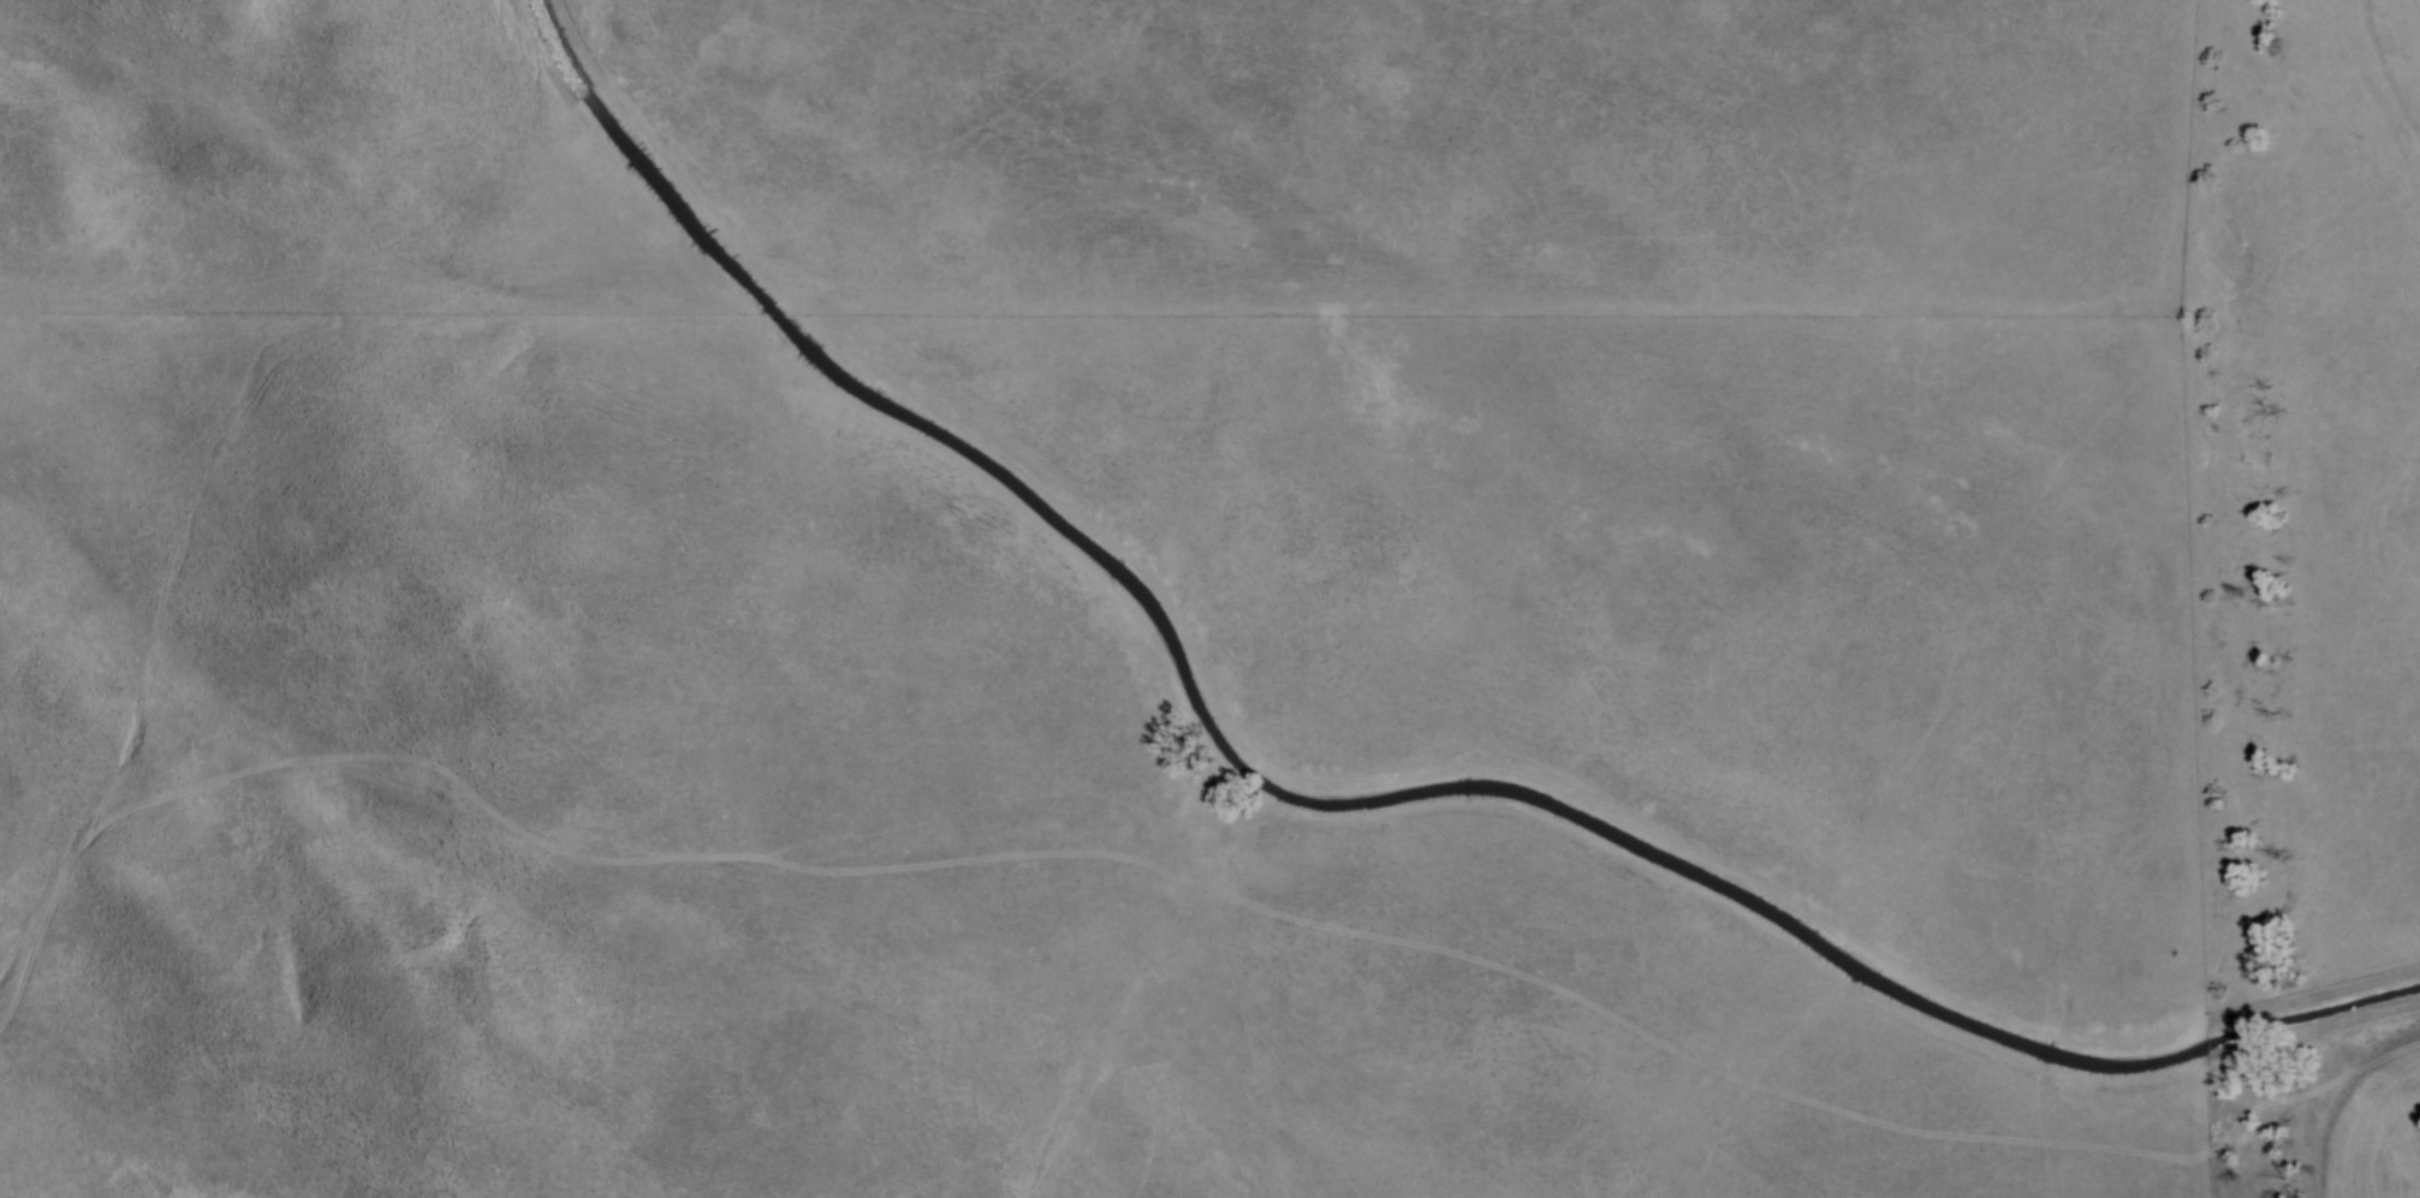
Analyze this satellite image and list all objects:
crop: (2371, 1139)

